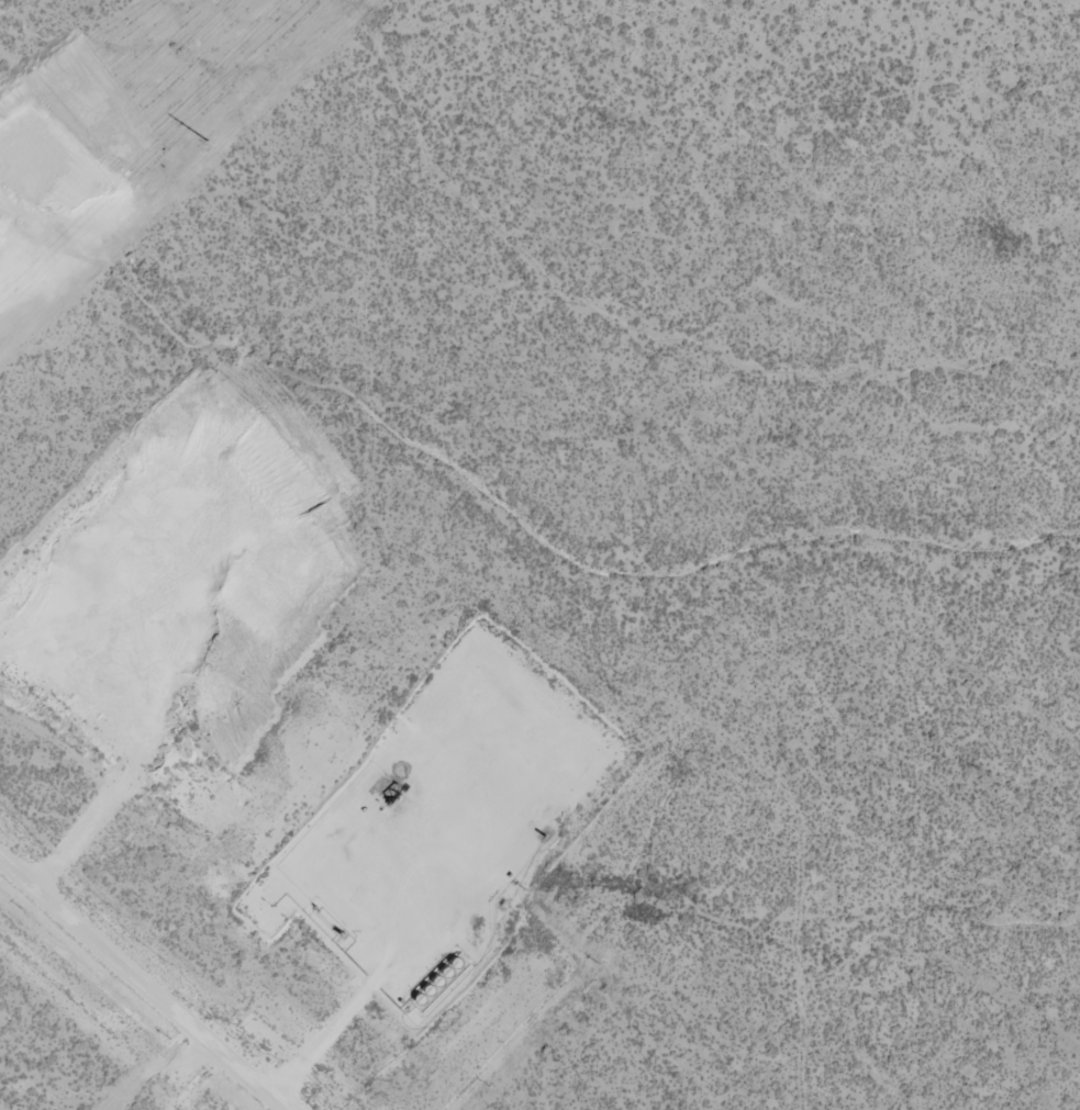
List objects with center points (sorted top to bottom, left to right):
road: (140, 986)
road: (327, 1024)

